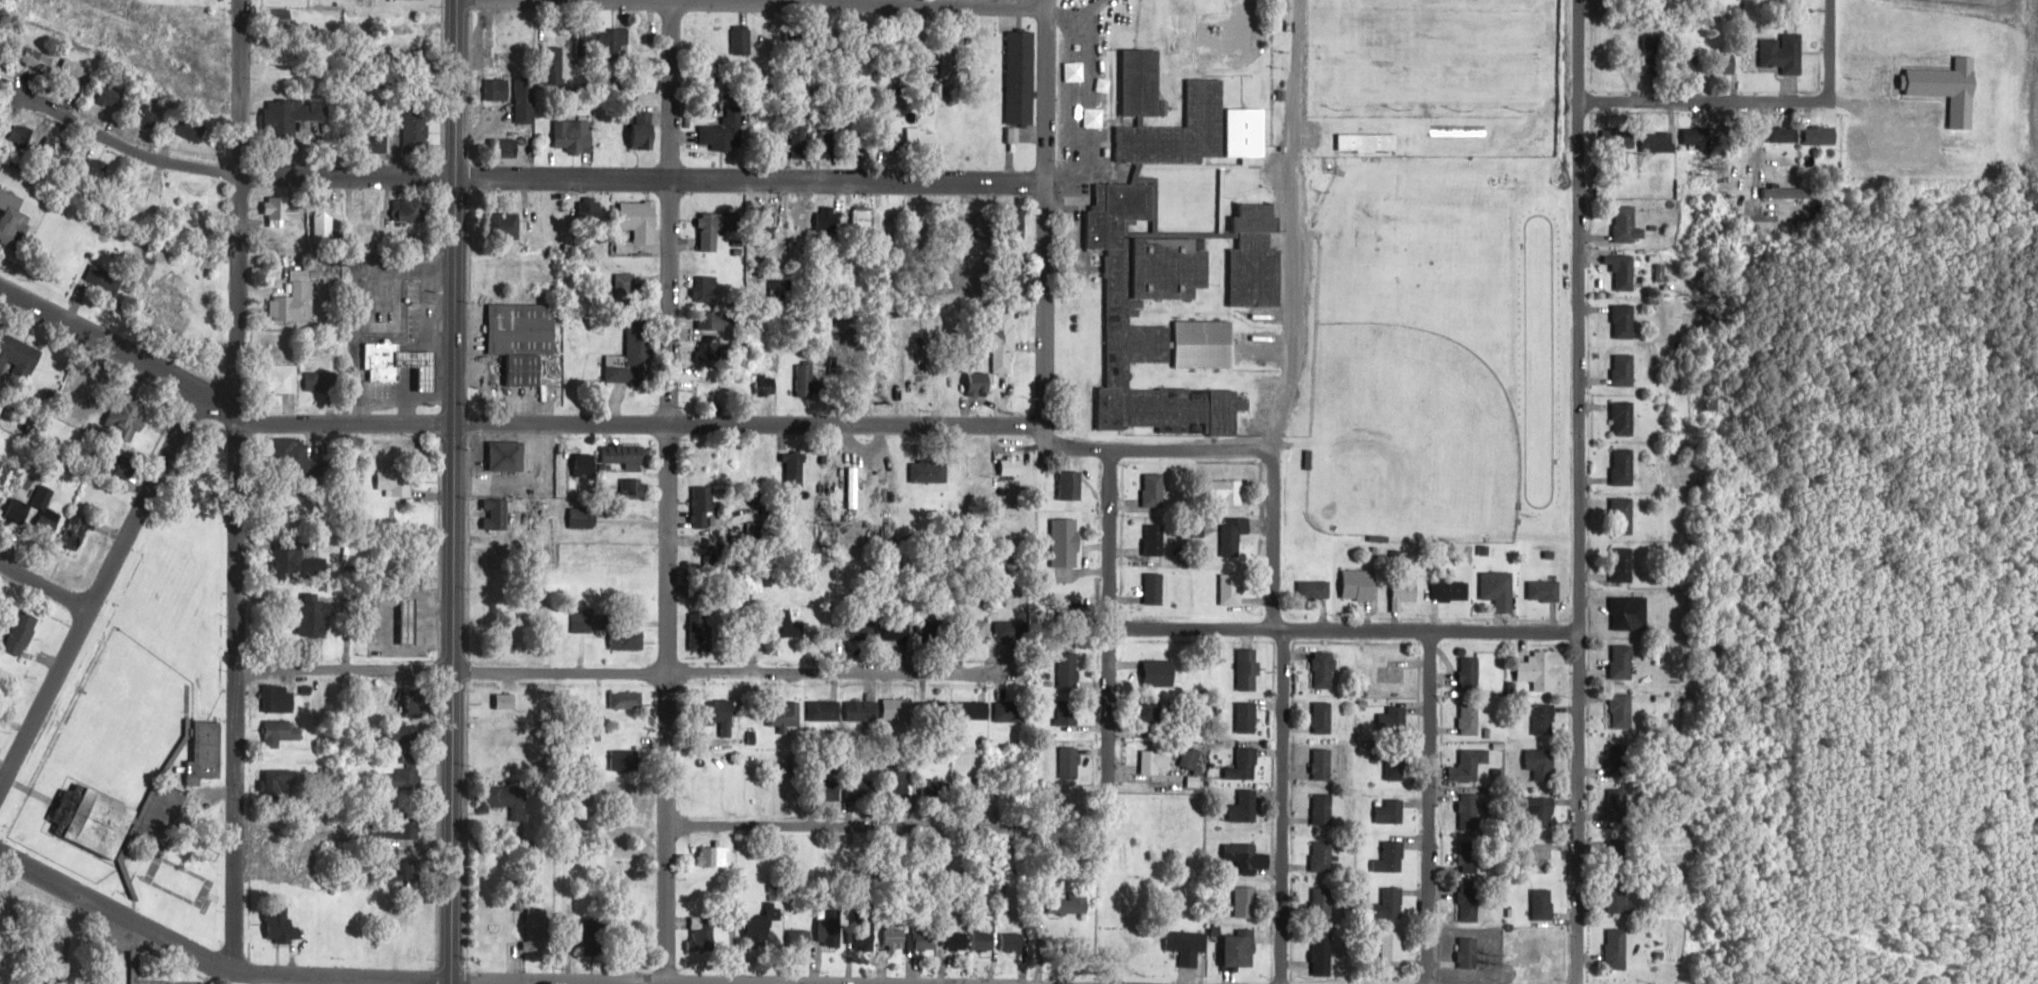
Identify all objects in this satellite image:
road: (856, 3)
building: (279, 17)
building: (402, 22)
building: (615, 38)
building: (742, 40)
building: (644, 43)
road: (1826, 48)
park: (1428, 51)
building: (1784, 52)
building: (1653, 53)
building: (37, 59)
building: (1722, 60)
building: (549, 70)
building: (73, 72)
building: (1022, 77)
building: (1142, 82)
building: (1949, 87)
building: (496, 89)
building: (111, 96)
road: (1702, 99)
building: (524, 100)
building: (295, 112)
building: (147, 114)
building: (181, 124)
building: (724, 131)
building: (415, 133)
building: (613, 133)
building: (1786, 133)
building: (1822, 134)
building: (573, 135)
building: (642, 135)
building: (1697, 136)
building: (798, 141)
building: (1662, 141)
building: (377, 142)
building: (824, 142)
building: (1366, 142)
building: (864, 144)
building: (507, 146)
road: (126, 151)
building: (1783, 165)
road: (642, 181)
building: (185, 190)
building: (1788, 192)
building: (147, 199)
building: (591, 209)
building: (406, 210)
road: (1042, 211)
building: (366, 213)
building: (801, 214)
building: (326, 216)
building: (827, 217)
building: (12, 219)
building: (646, 221)
building: (1627, 225)
building: (503, 226)
building: (717, 228)
building: (1257, 259)
building: (1625, 272)
building: (1166, 275)
building: (625, 289)
building: (706, 289)
building: (172, 294)
building: (294, 304)
road: (1286, 313)
building: (717, 321)
building: (1625, 321)
building: (522, 339)
building: (1004, 342)
building: (710, 347)
building: (19, 358)
building: (632, 358)
building: (381, 362)
building: (1624, 370)
building: (281, 379)
building: (808, 380)
building: (979, 381)
building: (320, 382)
building: (129, 418)
building: (1624, 418)
road: (505, 426)
road: (1150, 448)
building: (623, 455)
building: (507, 456)
building: (585, 464)
building: (1623, 466)
building: (125, 467)
building: (794, 469)
building: (982, 469)
building: (394, 483)
road: (240, 484)
building: (1072, 485)
building: (852, 487)
building: (634, 488)
building: (1154, 489)
road: (452, 490)
building: (1229, 491)
road: (1578, 491)
road: (667, 492)
building: (43, 496)
building: (705, 508)
building: (497, 514)
building: (1623, 516)
building: (582, 517)
building: (76, 531)
building: (1233, 533)
road: (1273, 537)
building: (1155, 539)
building: (1067, 541)
building: (298, 564)
building: (1623, 564)
building: (1360, 584)
road: (43, 585)
building: (1407, 585)
road: (97, 587)
building: (1154, 588)
building: (1231, 589)
building: (1313, 589)
building: (1499, 589)
building: (1450, 590)
building: (1545, 590)
building: (1630, 613)
building: (1071, 616)
building: (314, 617)
road: (1110, 617)
building: (410, 620)
building: (582, 621)
building: (788, 623)
building: (981, 629)
road: (1343, 629)
building: (1010, 630)
building: (701, 631)
building: (21, 633)
building: (936, 633)
building: (626, 639)
building: (1623, 661)
building: (1542, 668)
building: (1324, 669)
building: (1068, 670)
building: (1248, 670)
road: (626, 671)
building: (1152, 671)
building: (1394, 671)
building: (1470, 672)
building: (276, 698)
building: (626, 700)
building: (419, 702)
building: (898, 709)
building: (976, 709)
building: (861, 710)
building: (933, 710)
building: (825, 711)
building: (1012, 711)
building: (1622, 711)
building: (1066, 712)
building: (784, 714)
building: (724, 715)
building: (1151, 716)
building: (1245, 716)
building: (1322, 717)
building: (1470, 719)
building: (1545, 719)
building: (1391, 720)
building: (284, 730)
building: (403, 735)
building: (206, 753)
building: (1190, 757)
building: (1154, 760)
building: (1618, 760)
building: (626, 761)
building: (1069, 762)
building: (1244, 764)
building: (1322, 764)
building: (1542, 764)
building: (1470, 765)
building: (1395, 766)
building: (406, 778)
building: (279, 784)
building: (899, 784)
building: (936, 788)
building: (861, 790)
building: (506, 801)
road: (1283, 806)
building: (1245, 807)
road: (1426, 807)
building: (1618, 807)
building: (1323, 809)
building: (1390, 811)
building: (1470, 812)
building: (1542, 812)
building: (94, 821)
road: (735, 825)
building: (1239, 855)
building: (1322, 855)
building: (714, 856)
building: (1469, 857)
building: (1391, 858)
building: (284, 861)
building: (1621, 897)
building: (1323, 900)
building: (1245, 902)
building: (1391, 902)
building: (1470, 903)
building: (1069, 904)
building: (1543, 904)
road: (113, 915)
building: (281, 924)
building: (760, 925)
building: (536, 929)
building: (830, 930)
building: (703, 933)
building: (802, 935)
building: (895, 936)
building: (596, 937)
building: (924, 937)
building: (956, 940)
building: (867, 941)
building: (984, 941)
building: (1012, 941)
building: (1187, 946)
building: (1617, 946)
building: (1392, 948)
building: (1239, 951)
building: (1322, 953)
building: (1468, 953)
road: (432, 980)
road: (446, 982)

